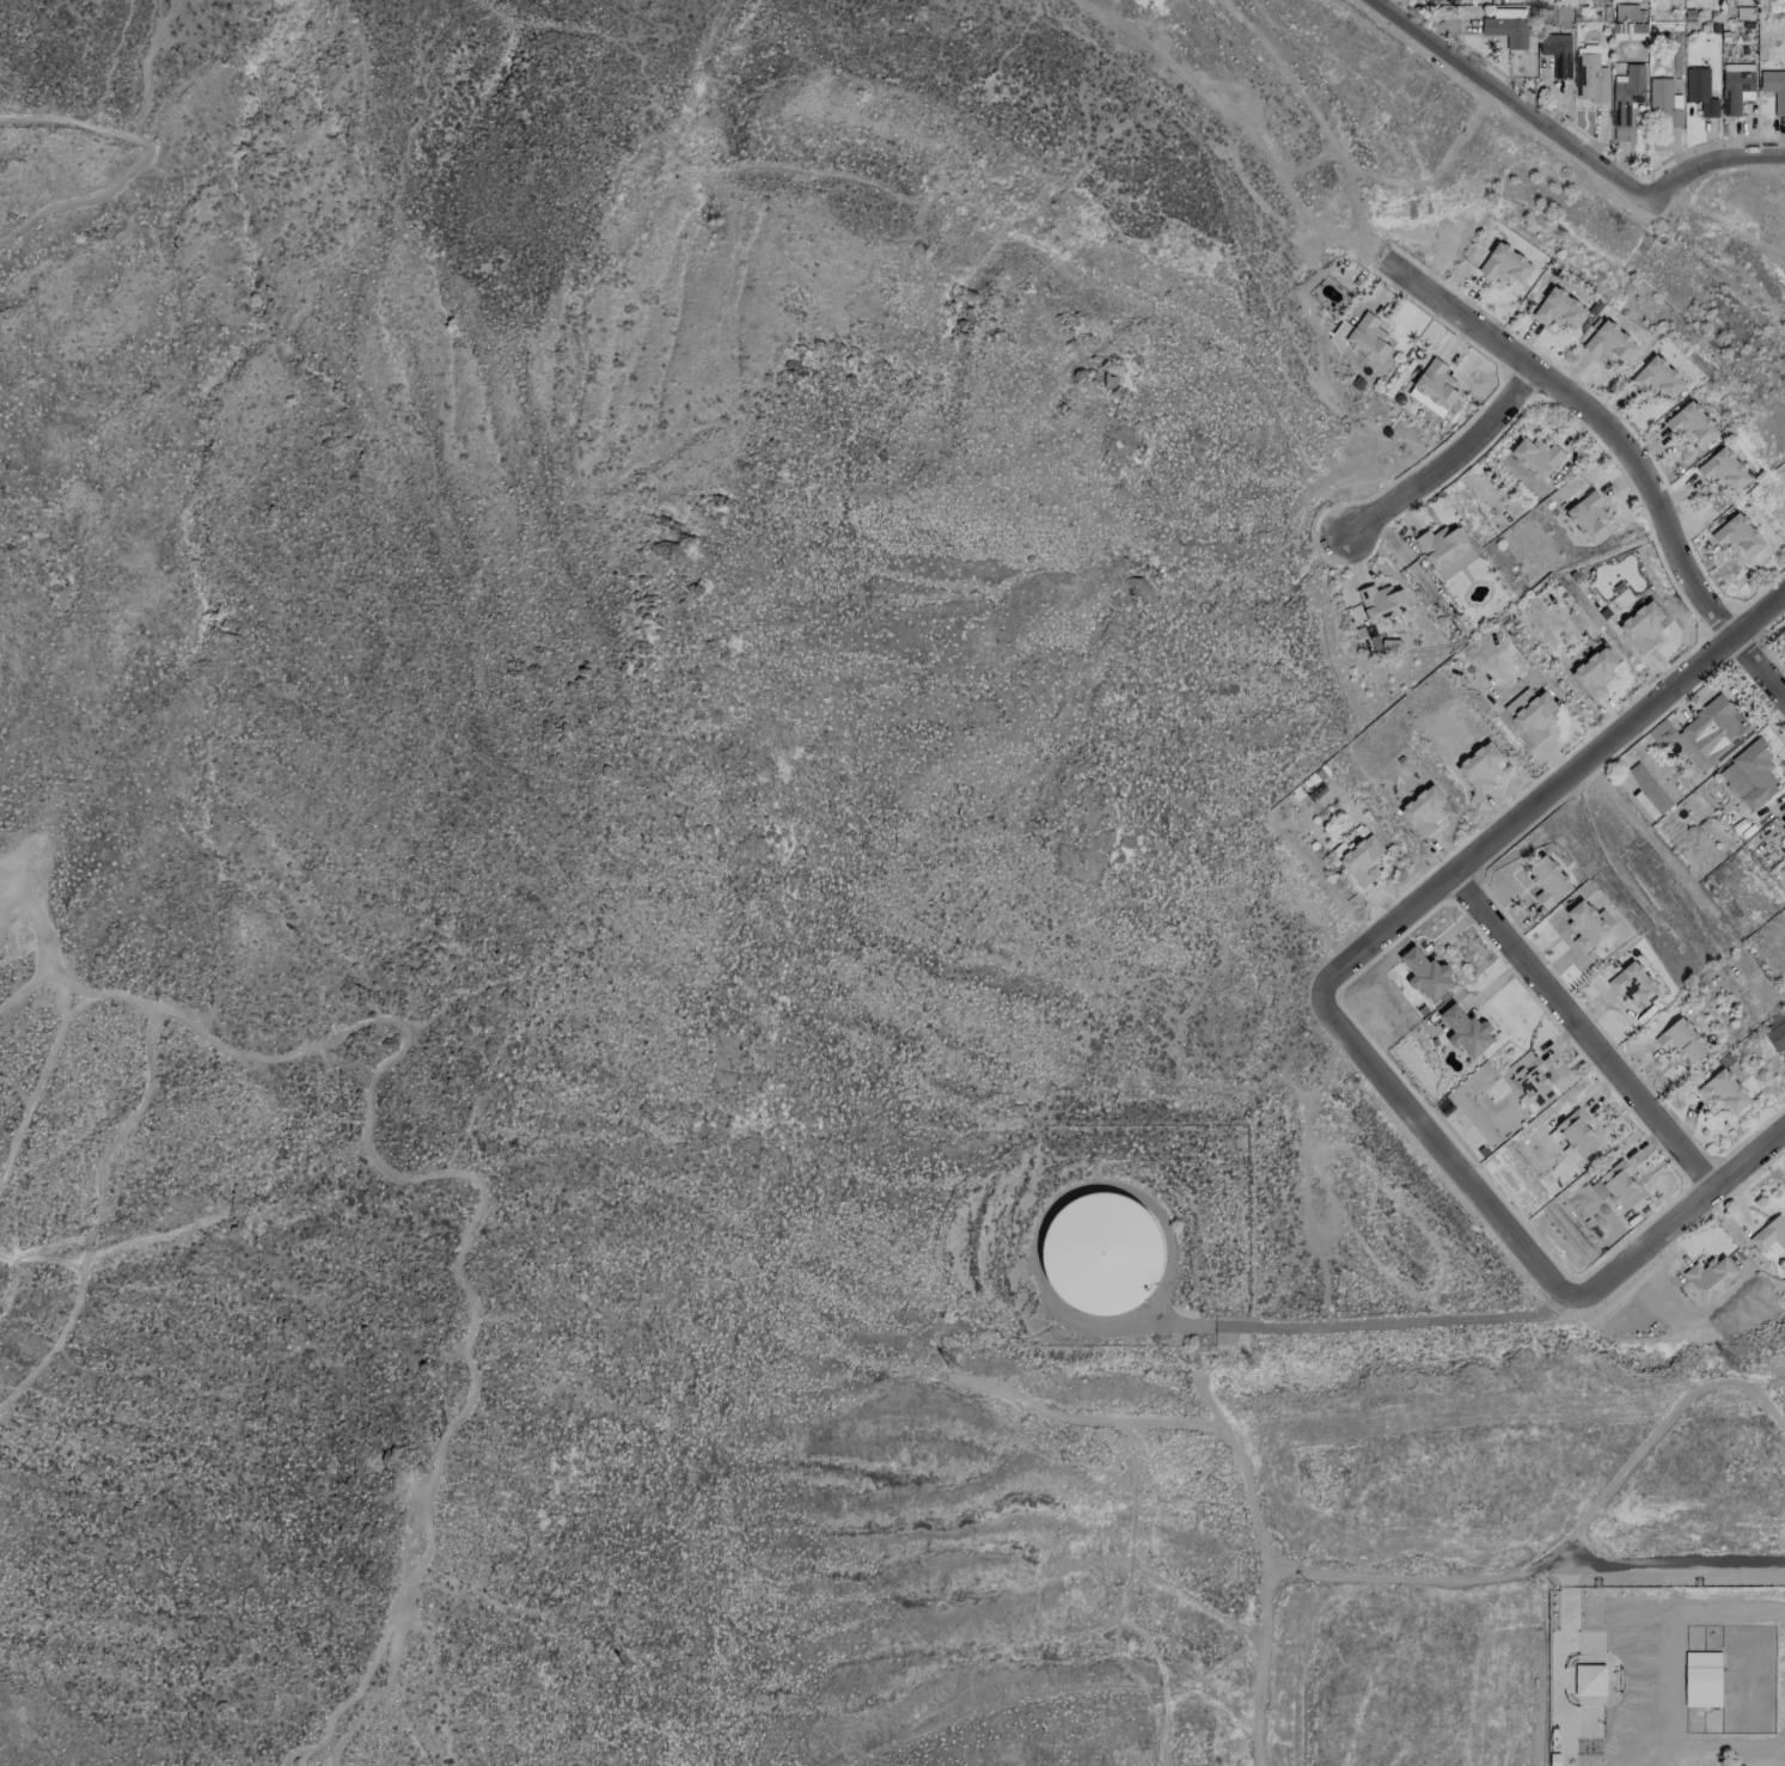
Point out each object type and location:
building: (1625, 12)
building: (1744, 13)
building: (1506, 28)
building: (1628, 31)
building: (1557, 53)
building: (1589, 75)
building: (1735, 86)
building: (1774, 88)
building: (1699, 91)
building: (1625, 99)
road: (1515, 102)
building: (1663, 103)
road: (139, 160)
road: (1710, 167)
building: (1504, 264)
building: (1558, 308)
building: (1364, 338)
building: (1609, 343)
building: (1657, 378)
building: (1436, 384)
building: (1693, 424)
road: (1622, 445)
building: (1535, 456)
road: (1443, 458)
building: (1723, 470)
building: (1588, 517)
building: (1737, 536)
building: (1444, 550)
building: (1381, 603)
building: (1642, 625)
building: (1594, 673)
building: (1530, 714)
building: (1703, 737)
building: (1480, 766)
building: (1750, 775)
building: (1648, 787)
road: (1548, 794)
building: (1642, 799)
building: (1423, 811)
building: (1783, 829)
building: (1358, 858)
building: (1547, 881)
building: (1578, 925)
building: (1426, 973)
building: (1633, 984)
road: (1584, 1029)
building: (1775, 1029)
building: (1466, 1031)
building: (1681, 1040)
building: (1530, 1077)
building: (1723, 1092)
building: (1576, 1133)
road: (1441, 1150)
road: (1747, 1156)
road: (438, 1177)
building: (1616, 1185)
building: (1769, 1234)
road: (1645, 1241)
building: (1101, 1253)
storage tank: (1101, 1253)
building: (1710, 1276)
road: (1357, 1322)
road: (1551, 1569)
road: (1263, 1637)

